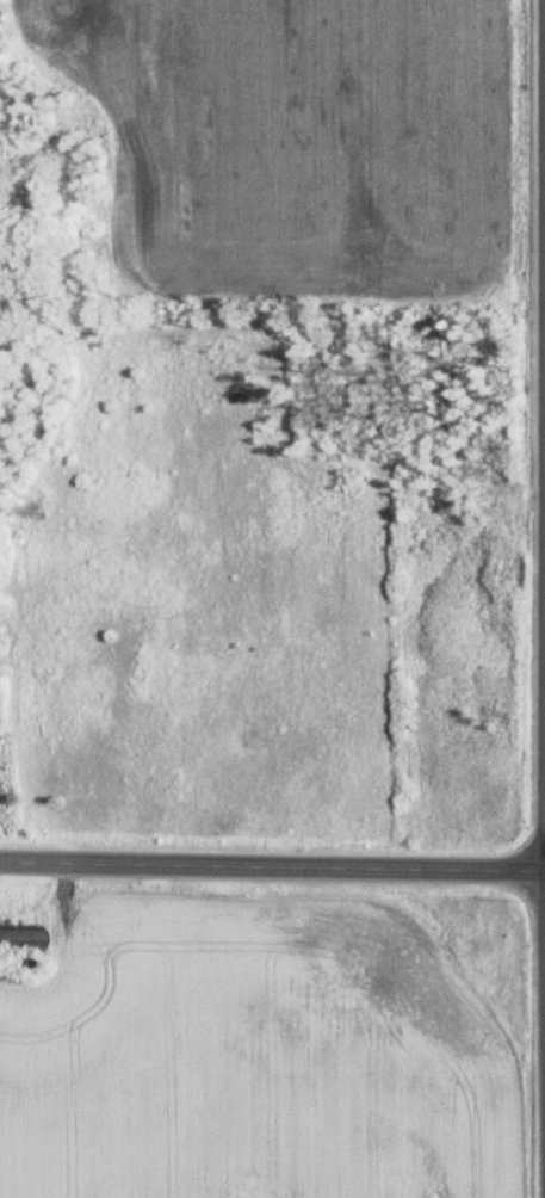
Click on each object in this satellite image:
road: (272, 864)
building: (20, 940)

